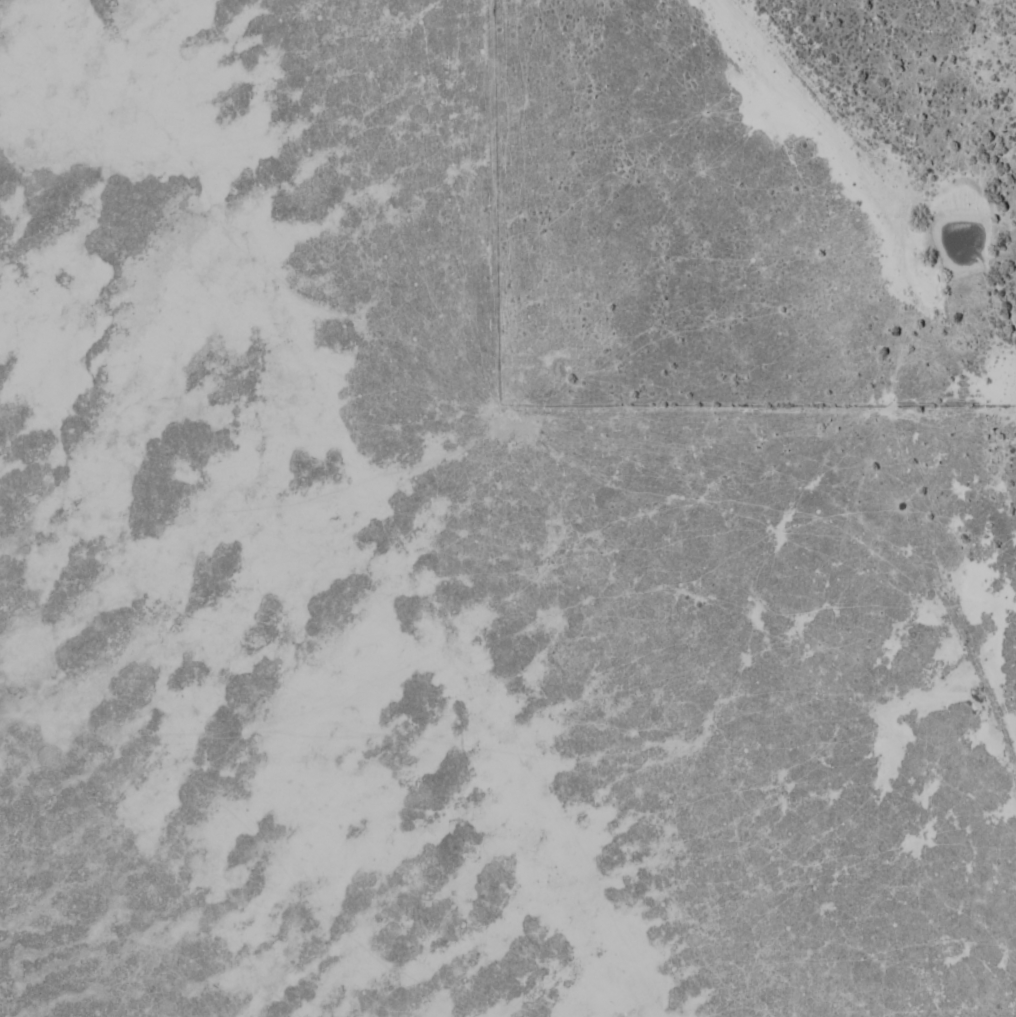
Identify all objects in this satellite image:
road: (882, 218)

